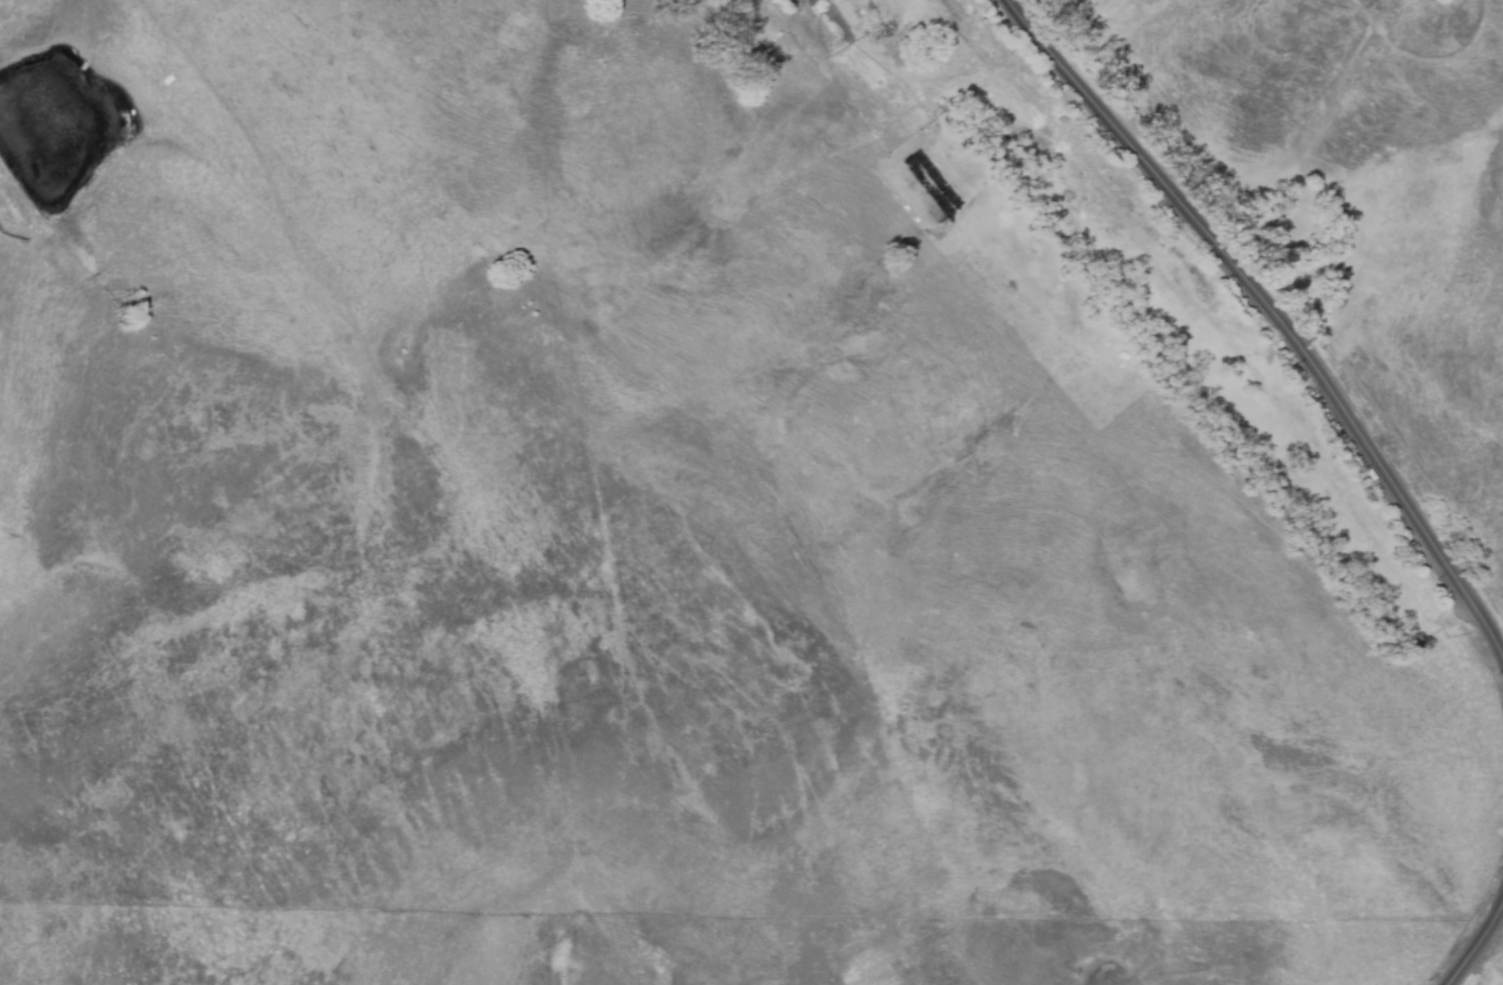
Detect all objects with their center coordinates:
building: (830, 1)
road: (1271, 317)
road: (1473, 943)

